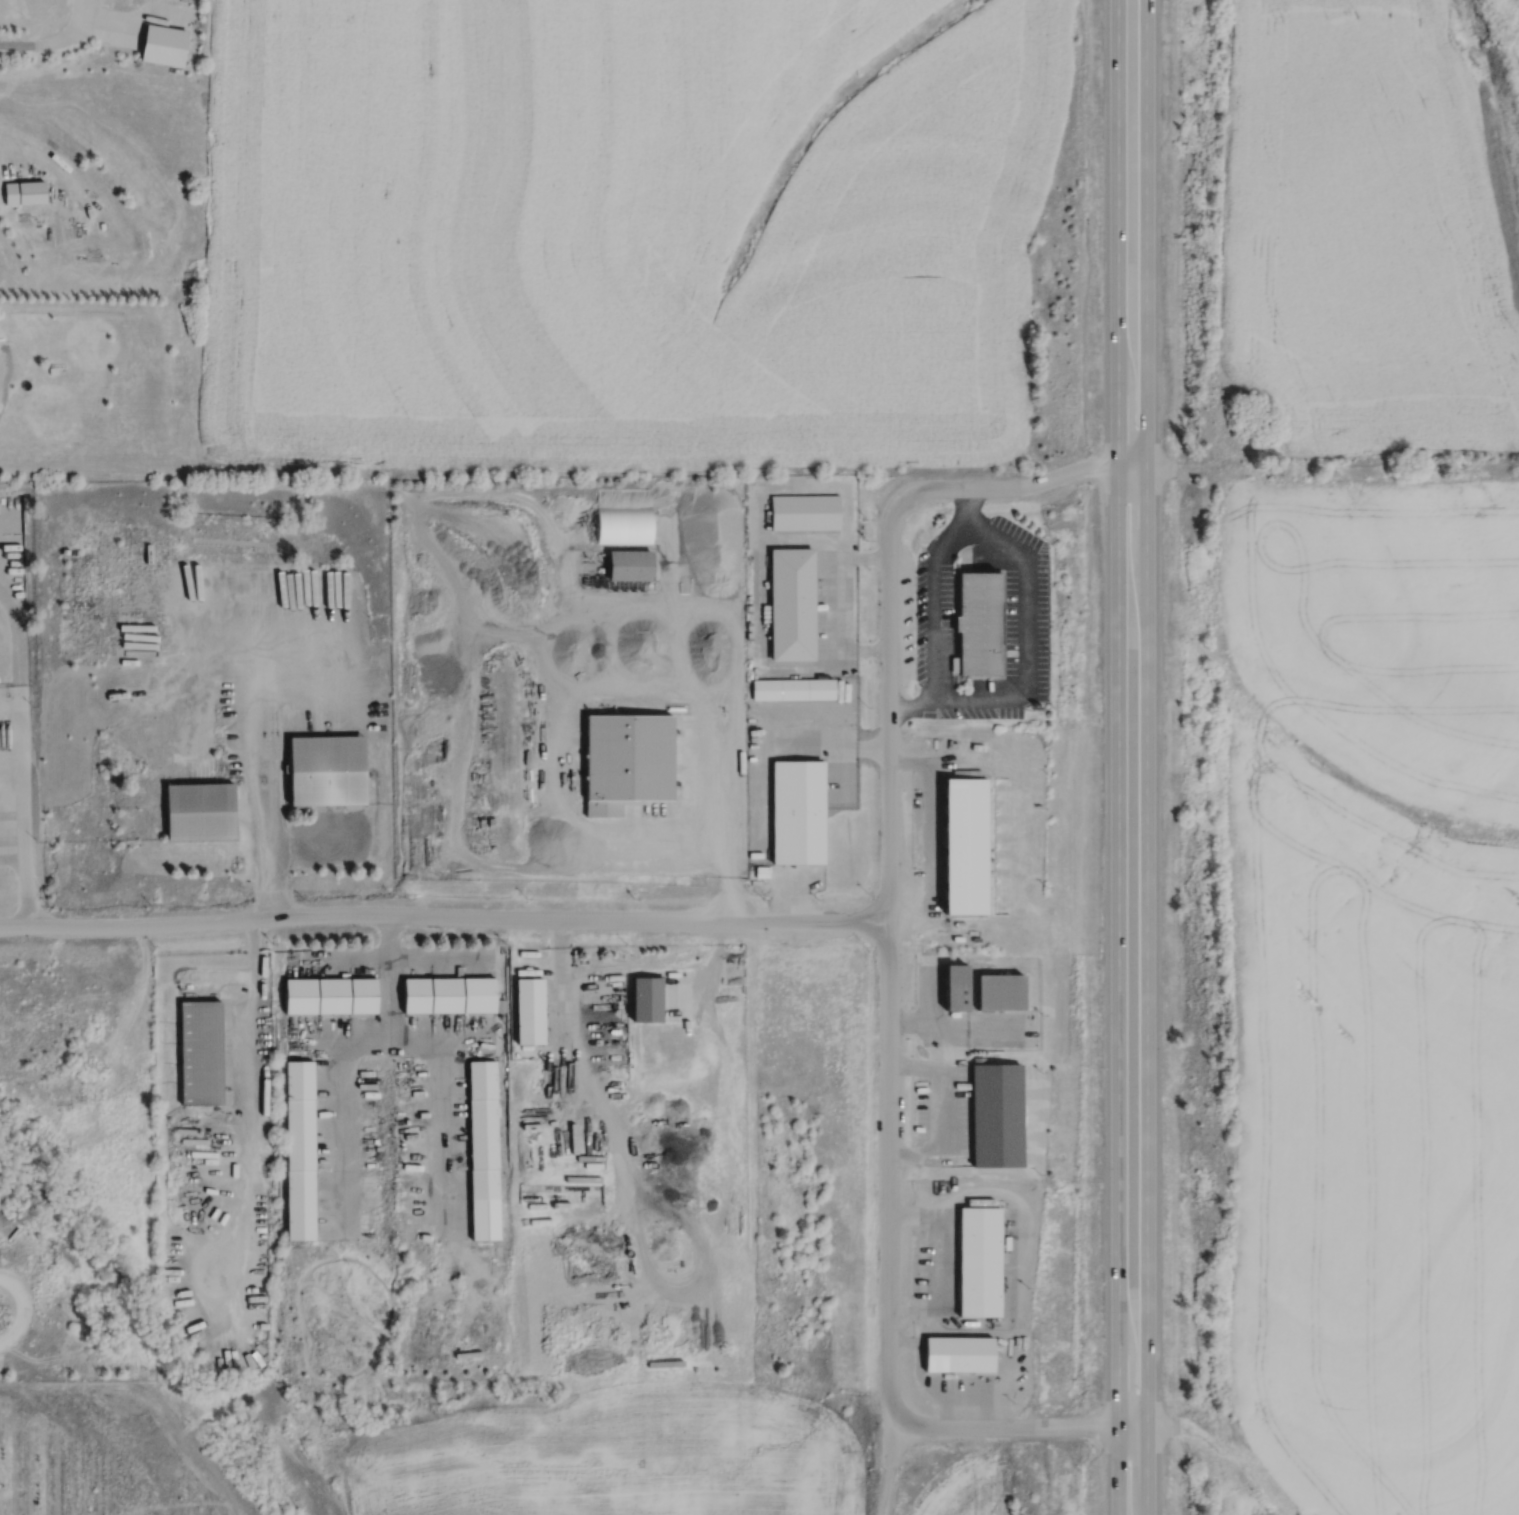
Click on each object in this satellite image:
road: (110, 25)
road: (53, 40)
building: (163, 46)
road: (69, 173)
building: (25, 189)
building: (52, 235)
road: (1039, 483)
building: (805, 511)
building: (624, 524)
building: (631, 564)
road: (933, 602)
building: (792, 603)
building: (980, 623)
road: (1029, 644)
road: (16, 647)
building: (793, 688)
road: (1118, 757)
road: (1146, 757)
building: (628, 761)
building: (329, 771)
road: (258, 783)
road: (12, 801)
building: (200, 812)
building: (798, 812)
road: (24, 813)
road: (929, 820)
road: (725, 829)
building: (967, 847)
road: (443, 915)
road: (889, 959)
road: (711, 966)
building: (956, 987)
building: (1001, 991)
building: (448, 992)
building: (330, 993)
building: (646, 996)
road: (568, 1000)
building: (529, 1008)
road: (932, 1013)
road: (248, 1019)
building: (200, 1050)
road: (347, 1051)
road: (438, 1102)
road: (941, 1107)
building: (995, 1112)
building: (299, 1148)
building: (483, 1148)
road: (948, 1256)
building: (977, 1260)
building: (959, 1354)
road: (1041, 1426)
road: (889, 1462)

